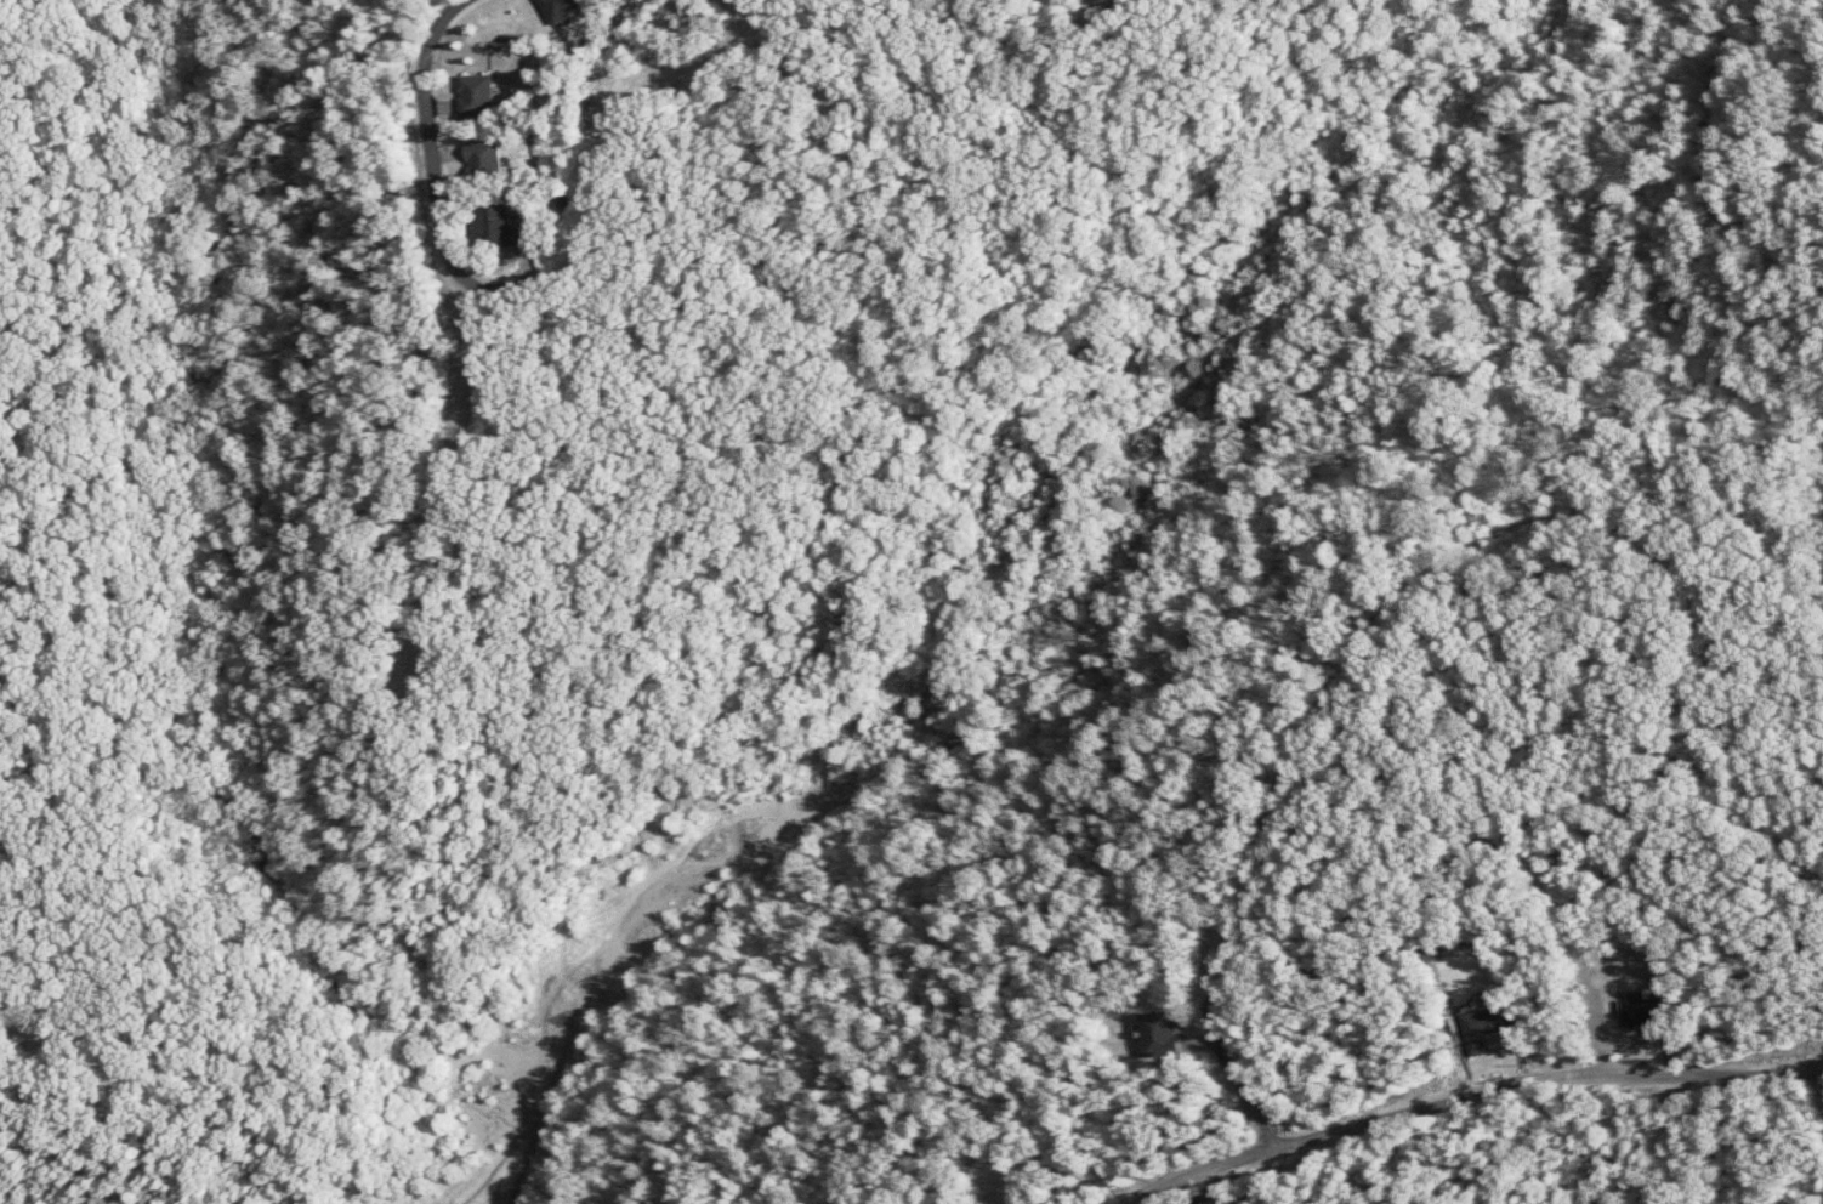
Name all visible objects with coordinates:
building: (561, 8)
road: (745, 22)
road: (825, 79)
building: (475, 96)
building: (483, 159)
road: (618, 159)
road: (1704, 172)
road: (221, 194)
building: (495, 227)
road: (485, 309)
road: (1419, 563)
road: (5, 657)
road: (398, 954)
road: (1580, 973)
road: (29, 1024)
building: (1480, 1029)
building: (1158, 1034)
road: (1481, 1097)
road: (1005, 1183)

